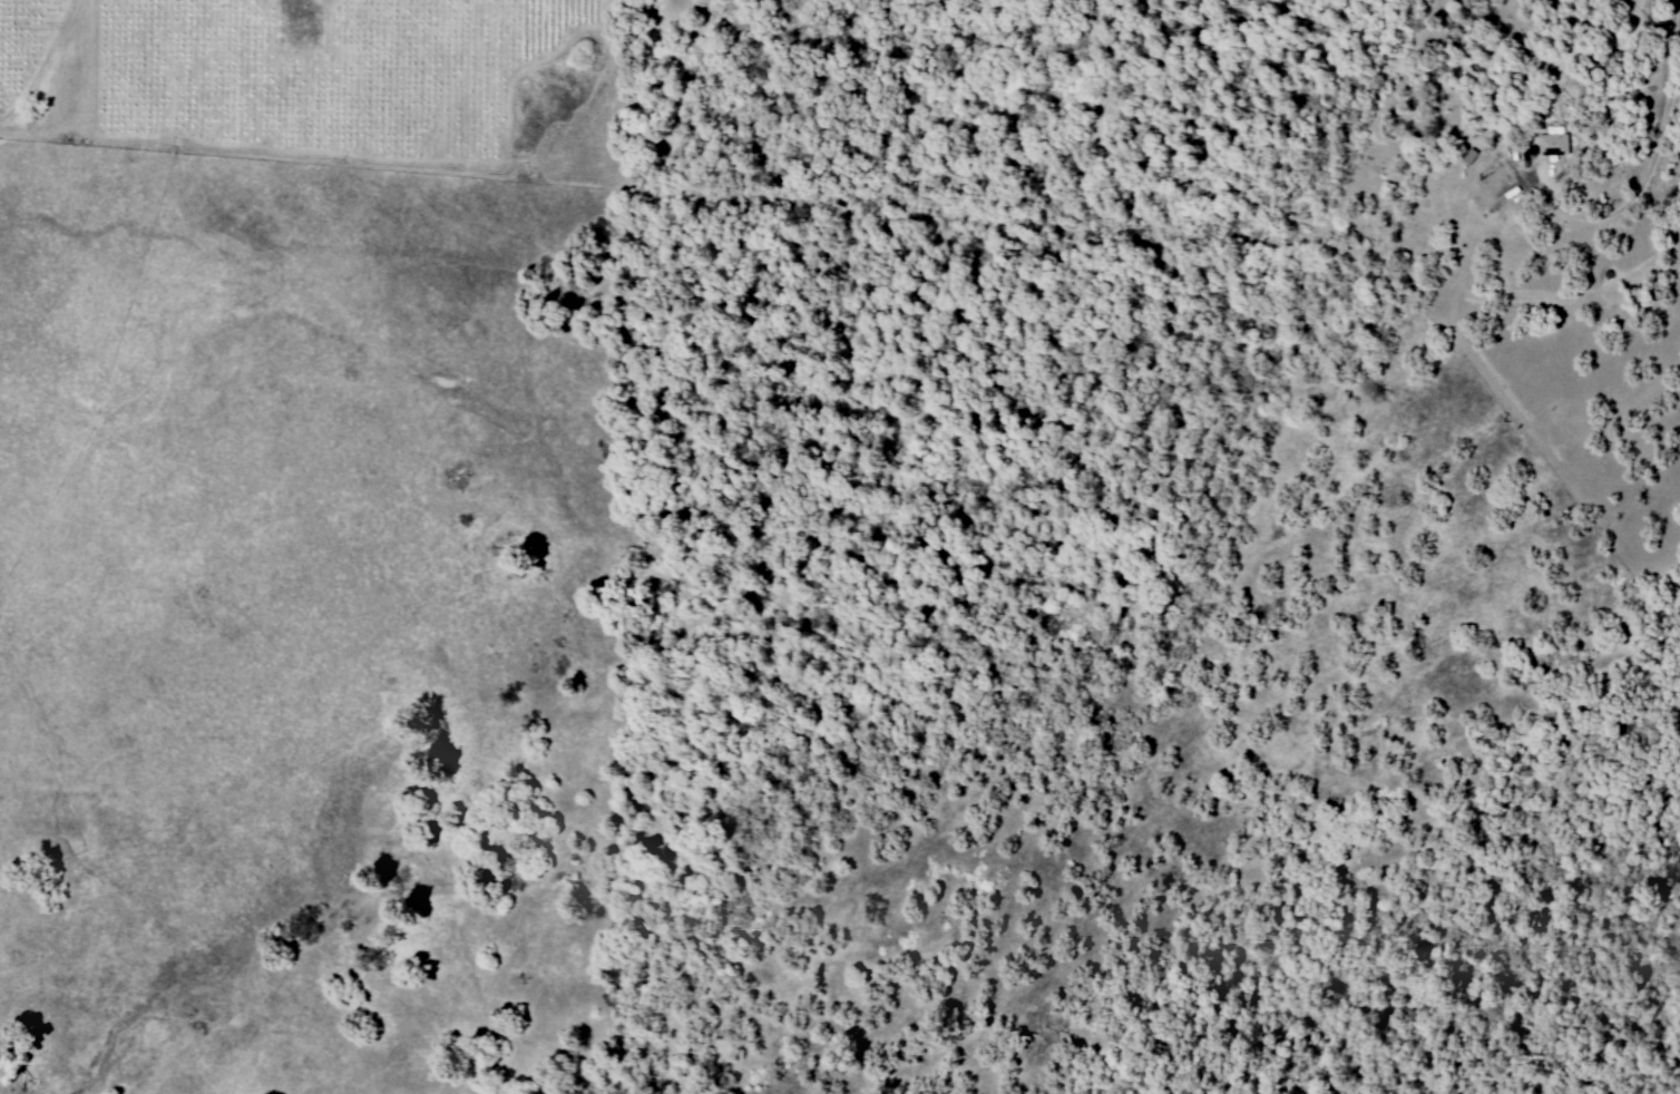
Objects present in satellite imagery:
building: (1556, 157)
road: (1660, 159)
road: (702, 205)

